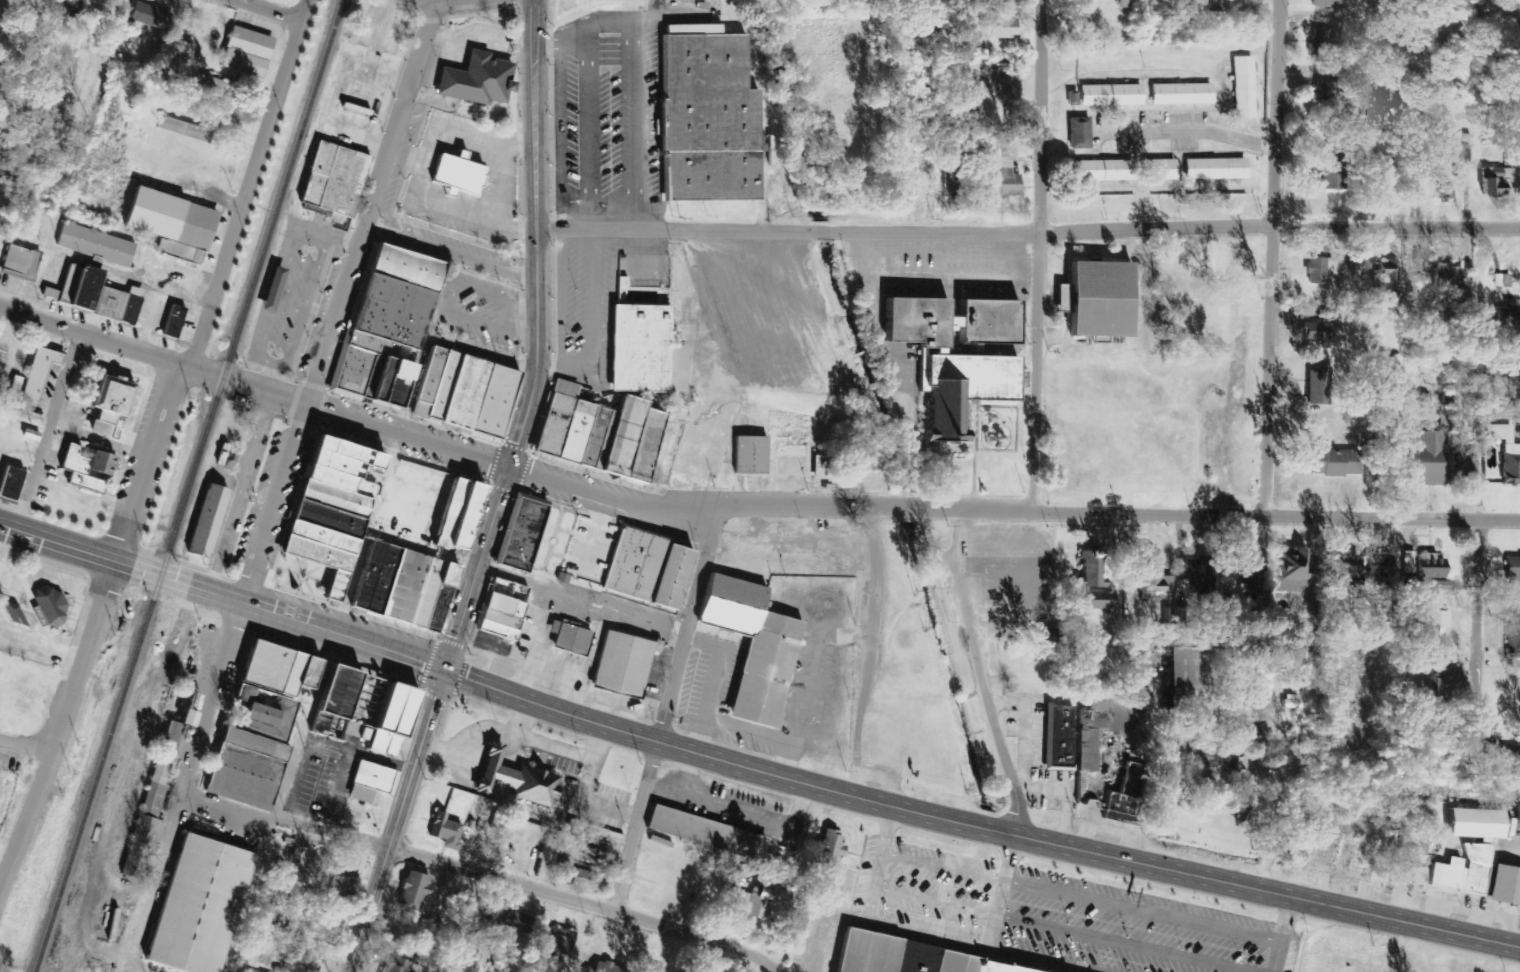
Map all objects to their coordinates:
building: (1125, 3)
building: (74, 8)
road: (274, 9)
road: (303, 9)
building: (147, 16)
building: (996, 28)
building: (1321, 40)
building: (247, 43)
building: (177, 48)
building: (241, 64)
building: (474, 81)
building: (1243, 88)
building: (1180, 94)
building: (1109, 96)
building: (1387, 101)
road: (1415, 112)
building: (705, 121)
building: (183, 129)
building: (1077, 133)
building: (1465, 154)
building: (1213, 169)
building: (1157, 170)
building: (1101, 171)
building: (1331, 171)
building: (455, 176)
building: (949, 180)
building: (332, 181)
building: (1003, 181)
building: (1492, 181)
building: (1441, 190)
building: (169, 225)
road: (1028, 225)
road: (341, 235)
road: (312, 238)
building: (95, 246)
road: (450, 251)
road: (1041, 257)
road: (1272, 258)
building: (18, 263)
building: (1356, 264)
building: (1317, 270)
building: (1445, 277)
building: (1387, 279)
building: (269, 291)
building: (48, 294)
building: (95, 296)
road: (275, 300)
road: (339, 301)
building: (1093, 301)
road: (303, 307)
building: (1506, 316)
building: (170, 322)
building: (383, 326)
road: (95, 335)
building: (1320, 336)
road: (537, 341)
building: (642, 353)
building: (954, 361)
building: (34, 375)
road: (268, 376)
road: (248, 384)
building: (12, 387)
building: (1317, 387)
building: (462, 394)
building: (108, 400)
building: (568, 427)
road: (48, 430)
building: (29, 435)
building: (629, 442)
building: (1507, 455)
building: (748, 456)
road: (155, 457)
building: (1428, 459)
building: (71, 461)
building: (864, 462)
building: (1333, 462)
building: (96, 465)
building: (8, 484)
building: (82, 484)
railway: (187, 486)
road: (615, 497)
building: (327, 511)
building: (446, 515)
road: (1227, 516)
building: (460, 520)
building: (204, 522)
building: (519, 536)
road: (57, 543)
building: (632, 565)
building: (1089, 568)
building: (1343, 569)
building: (1377, 569)
building: (1511, 569)
building: (1291, 570)
building: (1427, 572)
building: (444, 575)
building: (1149, 575)
building: (366, 576)
building: (667, 579)
building: (1197, 579)
building: (380, 580)
road: (525, 582)
building: (401, 588)
building: (1241, 589)
building: (423, 595)
building: (1093, 597)
building: (48, 607)
building: (502, 607)
building: (435, 610)
road: (338, 612)
building: (11, 615)
building: (1432, 615)
building: (497, 620)
road: (1477, 626)
building: (494, 631)
building: (1512, 633)
building: (1041, 638)
building: (567, 640)
building: (750, 649)
building: (620, 665)
traffic signals: (443, 669)
road: (981, 673)
building: (1180, 674)
building: (1430, 679)
road: (710, 680)
building: (333, 691)
building: (1290, 702)
road: (664, 708)
road: (519, 716)
building: (386, 720)
building: (1099, 723)
building: (258, 726)
road: (760, 735)
building: (1058, 738)
road: (466, 742)
road: (28, 743)
road: (569, 749)
building: (1212, 758)
building: (1508, 759)
building: (513, 779)
road: (810, 781)
building: (369, 783)
building: (156, 784)
road: (181, 787)
road: (589, 799)
building: (1120, 804)
building: (1517, 819)
road: (396, 820)
building: (1474, 823)
building: (443, 831)
building: (700, 832)
building: (500, 844)
building: (826, 849)
road: (771, 851)
building: (595, 852)
building: (545, 856)
building: (1414, 860)
building: (1462, 871)
road: (480, 874)
building: (580, 877)
building: (1503, 886)
building: (339, 890)
building: (411, 890)
road: (1001, 892)
road: (1080, 895)
building: (751, 903)
building: (195, 906)
building: (480, 921)
building: (515, 922)
road: (1063, 929)
road: (917, 933)
road: (1280, 933)
building: (554, 943)
building: (865, 953)
building: (913, 958)
building: (946, 961)
building: (967, 964)
building: (398, 965)
building: (996, 967)
building: (604, 968)

